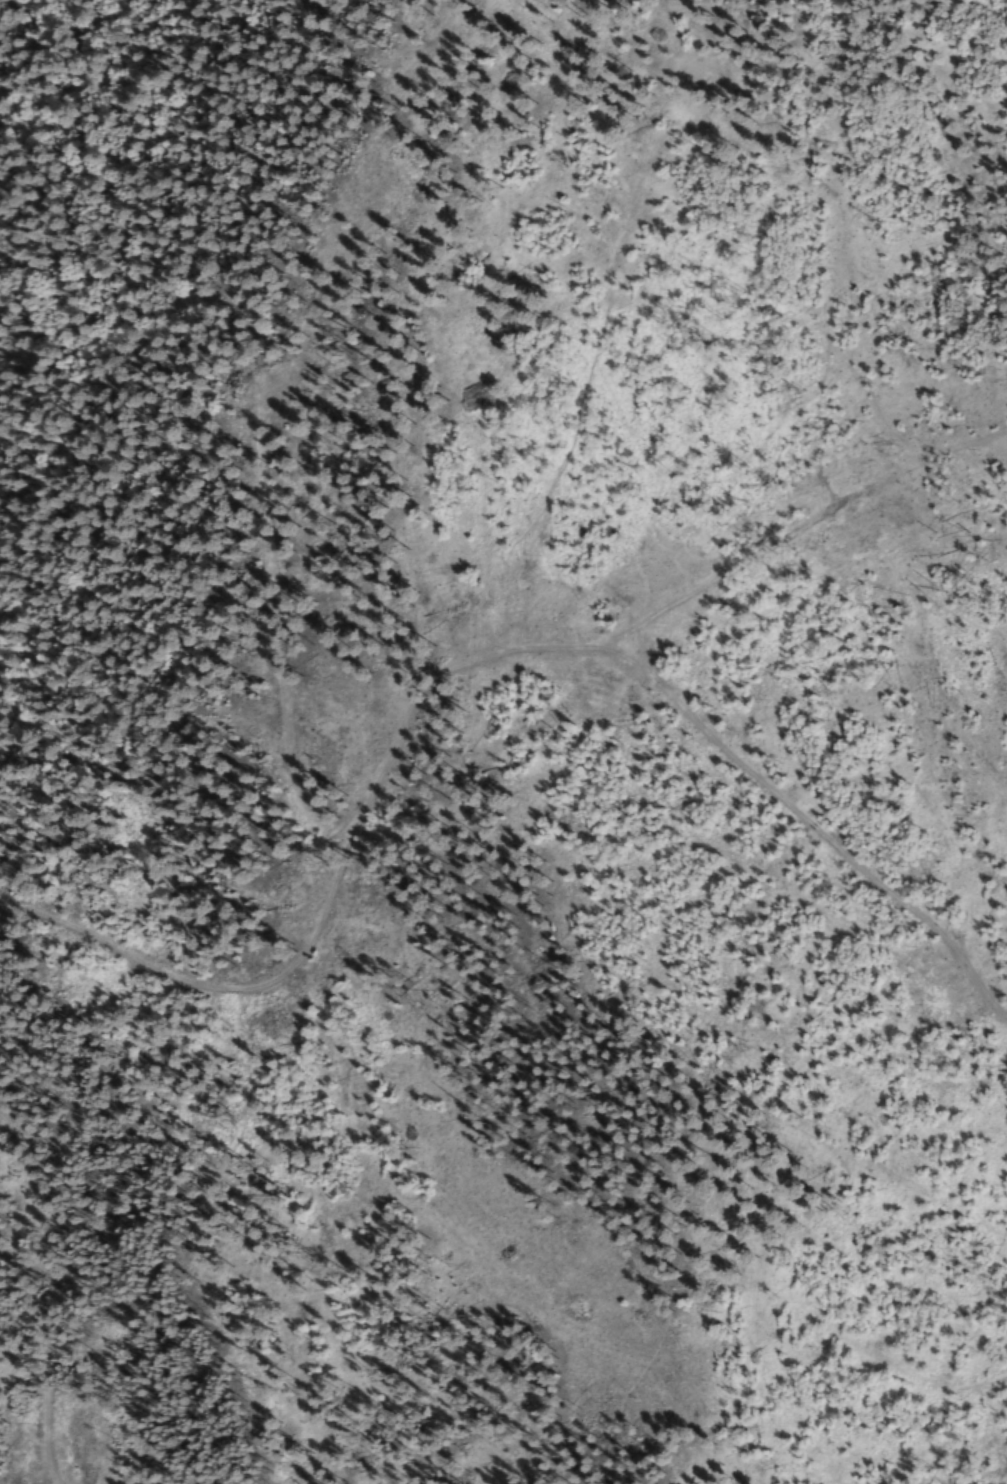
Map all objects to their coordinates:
road: (461, 673)
road: (44, 1360)

